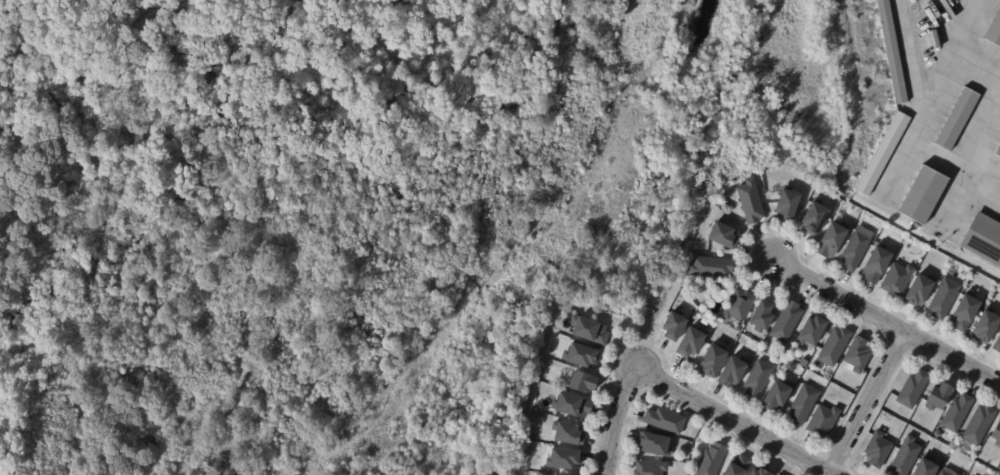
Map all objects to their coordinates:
road: (975, 23)
building: (994, 31)
building: (892, 52)
road: (978, 53)
building: (957, 120)
road: (923, 124)
building: (998, 152)
building: (883, 154)
road: (968, 162)
building: (923, 196)
building: (750, 202)
building: (787, 205)
building: (814, 218)
building: (723, 236)
building: (832, 240)
building: (983, 240)
building: (855, 251)
building: (876, 265)
building: (710, 268)
building: (960, 268)
building: (897, 280)
building: (919, 291)
building: (943, 299)
building: (738, 306)
building: (965, 313)
building: (762, 318)
road: (884, 320)
building: (786, 323)
building: (673, 326)
building: (986, 328)
building: (589, 331)
building: (811, 332)
road: (541, 341)
building: (691, 343)
building: (997, 345)
building: (833, 348)
building: (858, 355)
building: (580, 356)
building: (712, 362)
building: (733, 372)
building: (757, 381)
building: (581, 383)
building: (912, 390)
building: (777, 396)
road: (862, 397)
building: (939, 398)
building: (803, 405)
building: (571, 406)
building: (956, 414)
road: (611, 418)
road: (738, 420)
building: (822, 421)
building: (665, 422)
building: (979, 426)
building: (567, 435)
building: (937, 436)
building: (997, 436)
building: (654, 446)
building: (877, 451)
building: (905, 458)
building: (564, 460)
building: (711, 461)
building: (738, 466)
building: (650, 468)
building: (926, 469)
building: (759, 473)
building: (943, 473)
building: (774, 474)
building: (955, 474)

